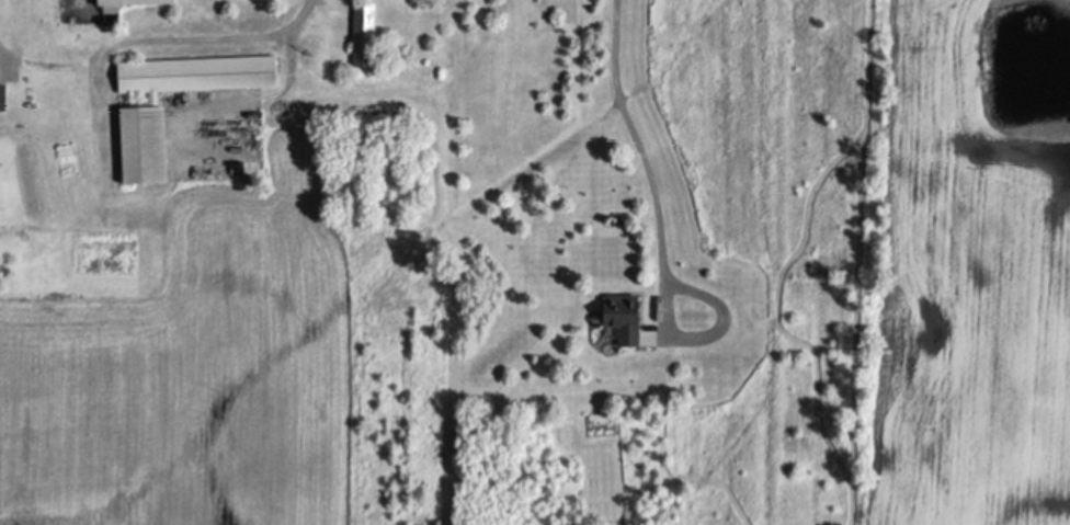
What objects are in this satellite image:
building: (119, 1)
building: (366, 32)
road: (234, 36)
building: (3, 93)
road: (633, 139)
building: (147, 142)
building: (624, 315)
road: (709, 333)

